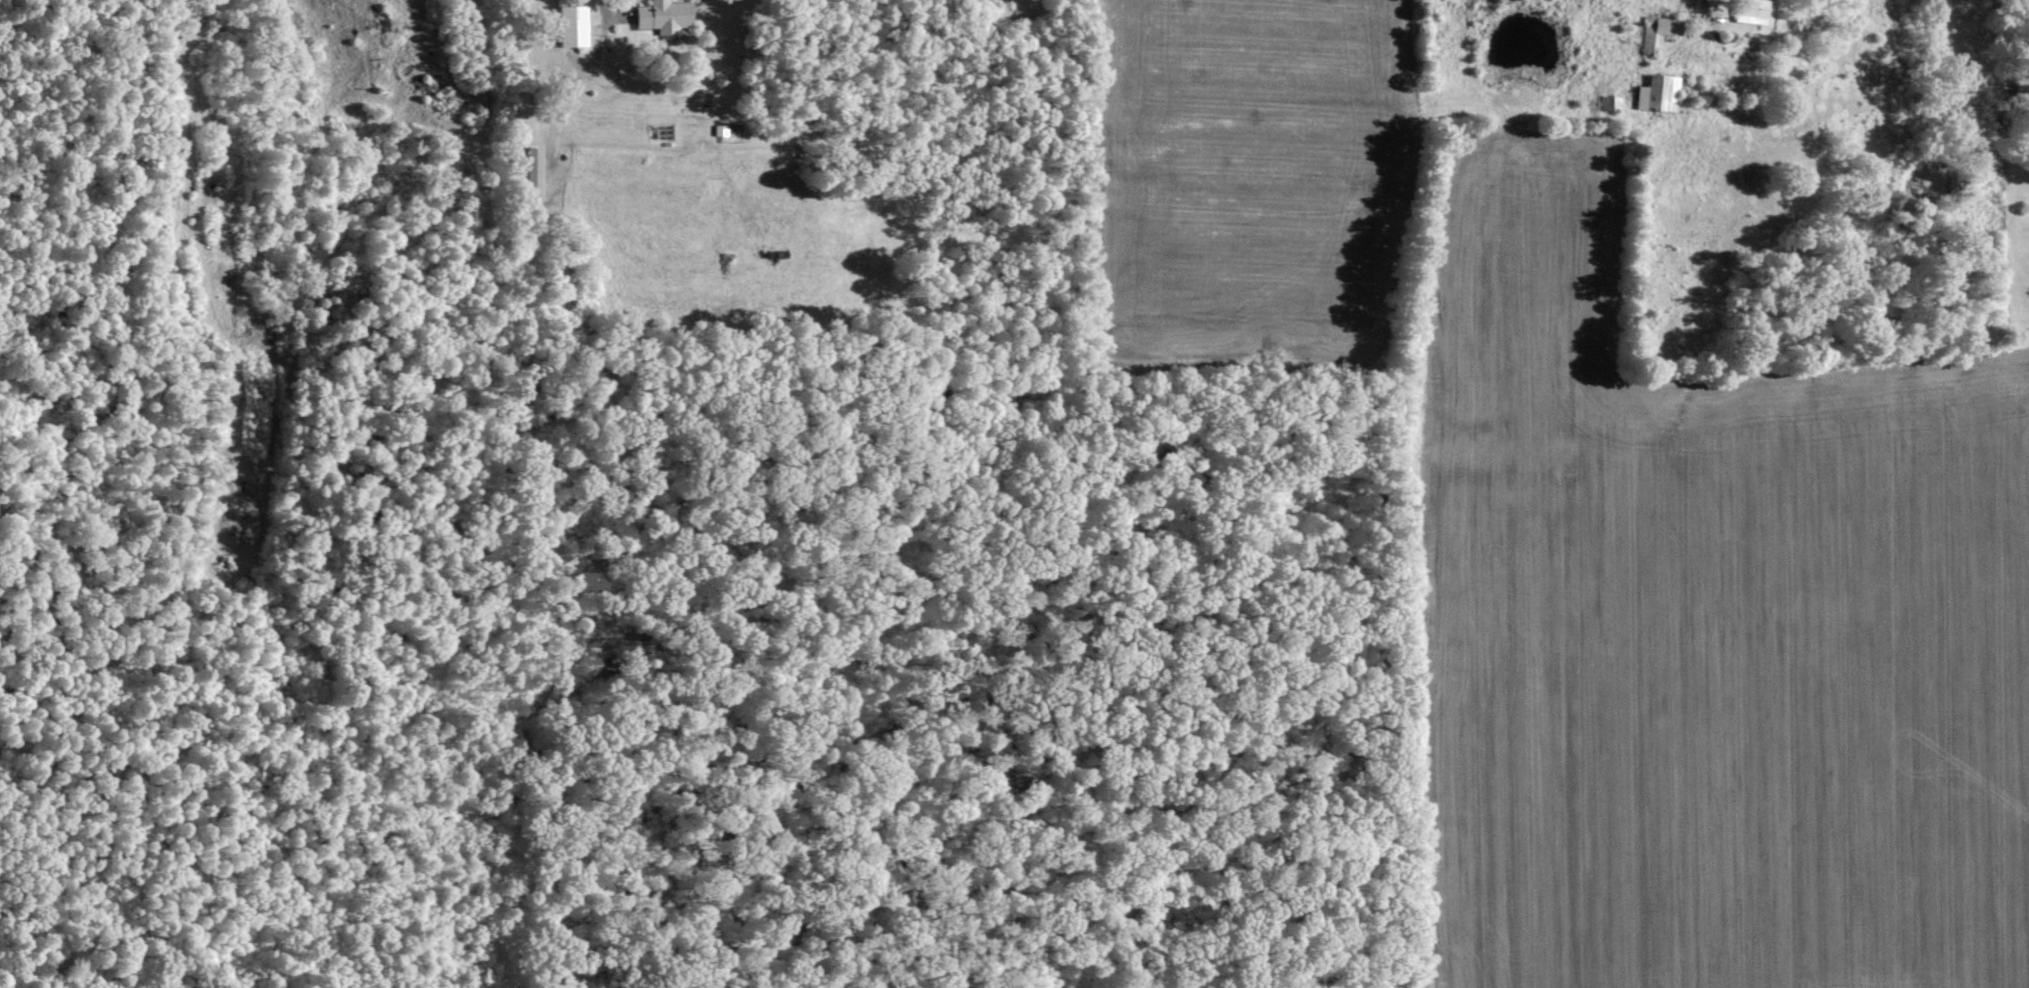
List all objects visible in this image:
building: (1751, 11)
road: (592, 15)
building: (663, 16)
building: (571, 26)
building: (1657, 30)
building: (1657, 93)

